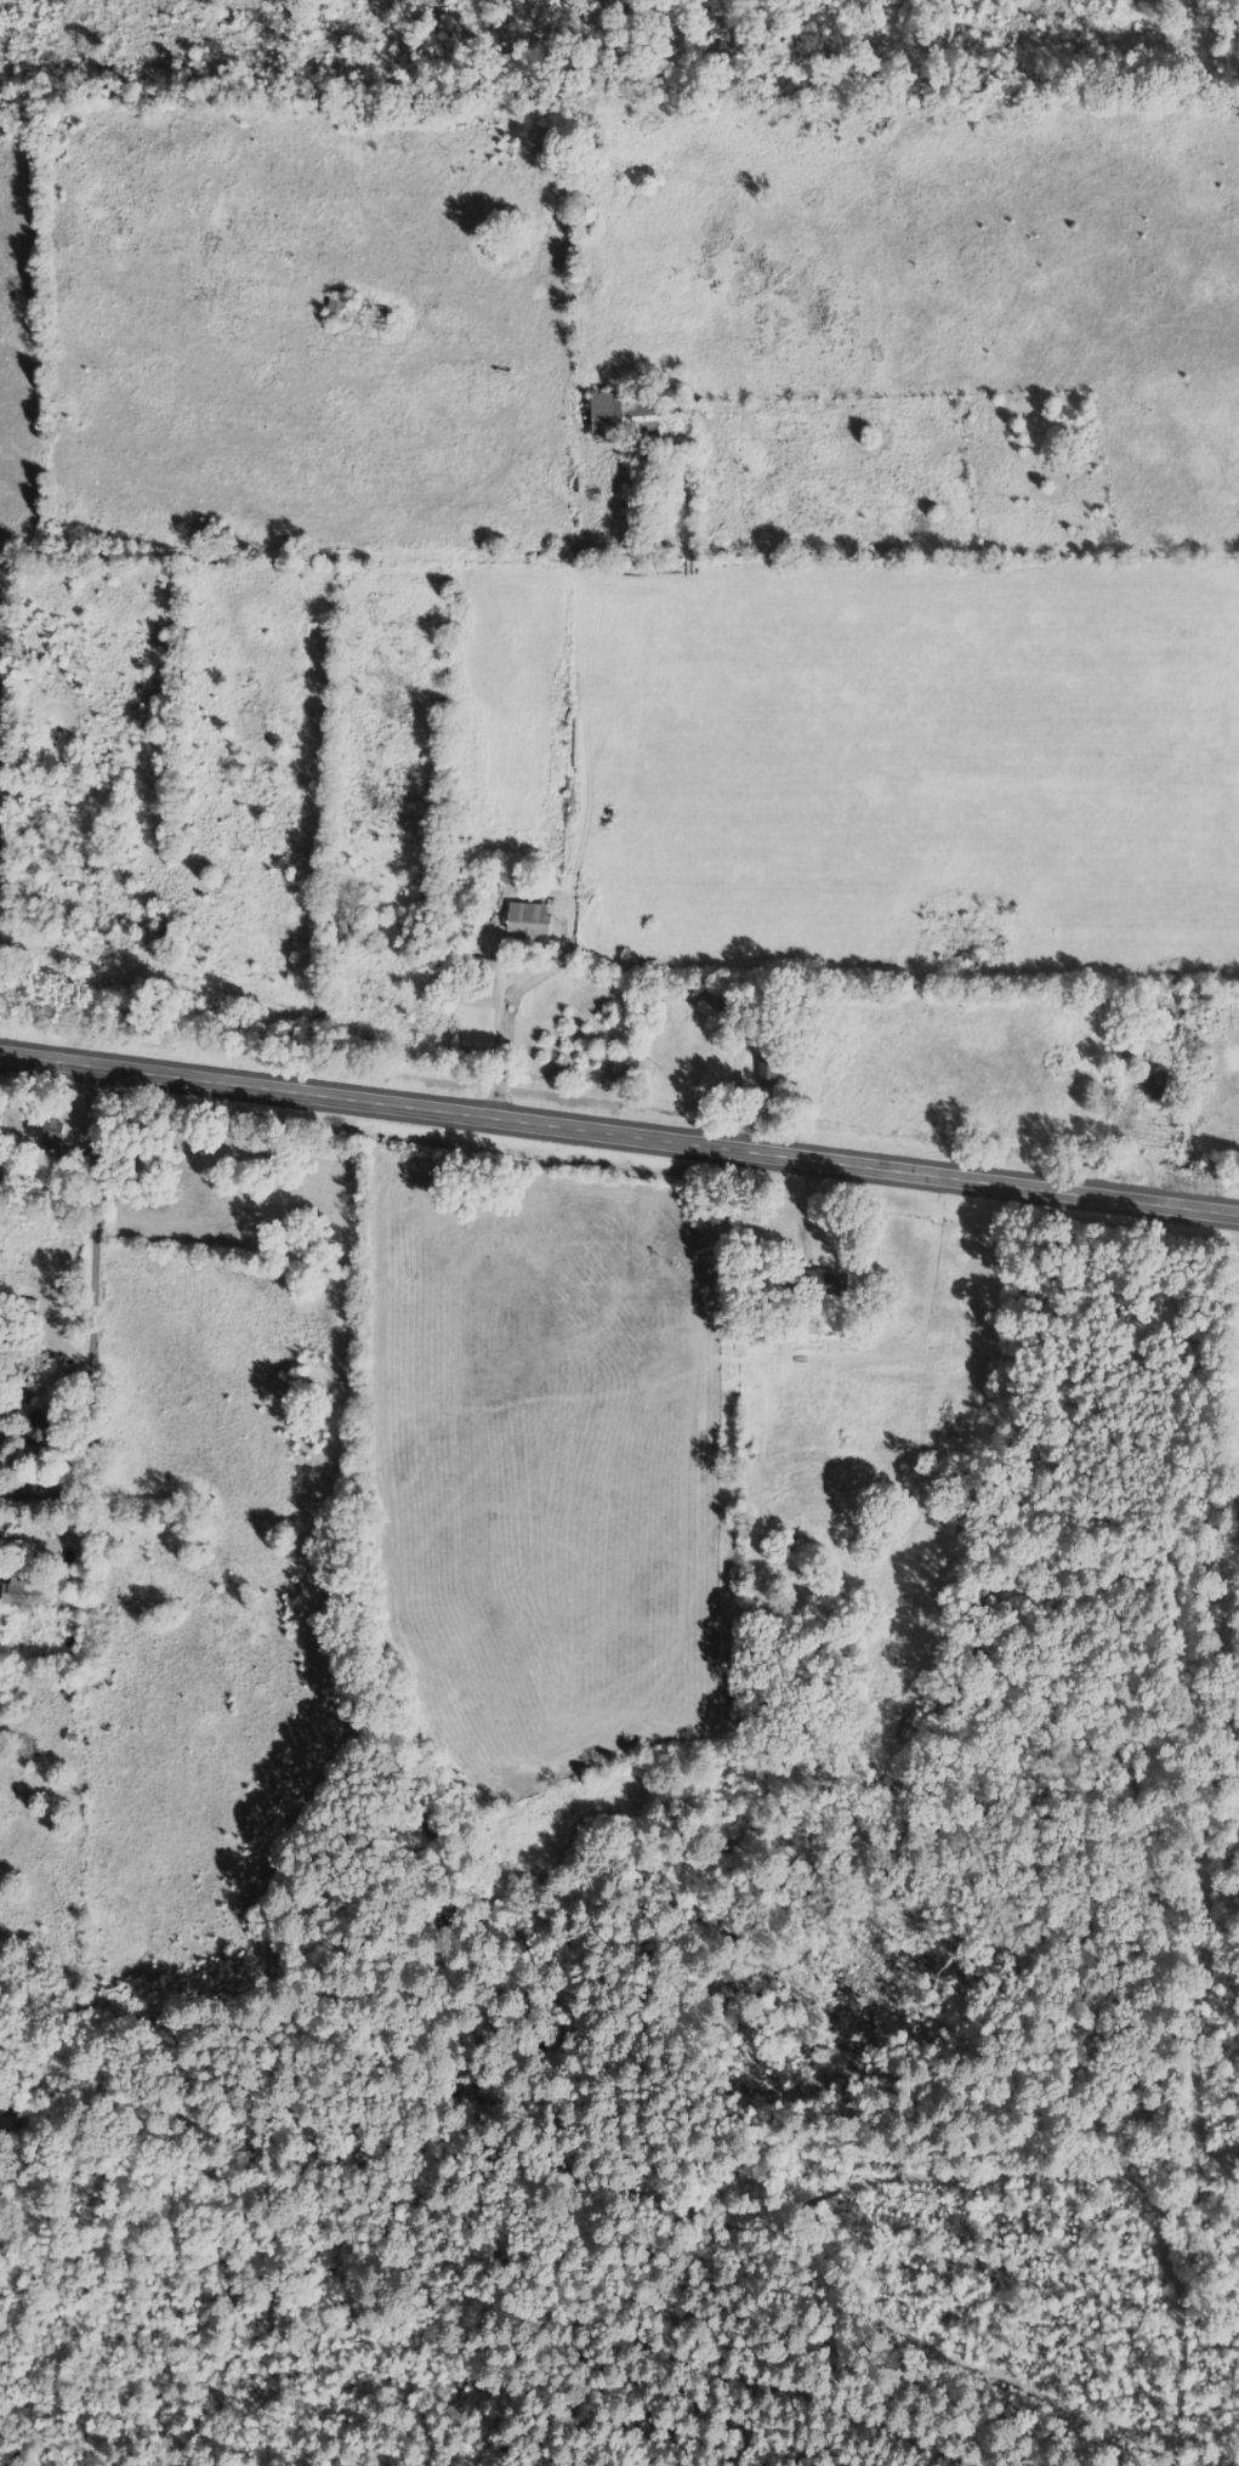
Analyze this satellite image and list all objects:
building: (609, 415)
building: (529, 917)
building: (1155, 1080)
building: (0, 1118)
road: (619, 1129)
building: (53, 1132)
building: (831, 1280)
road: (107, 1324)
building: (42, 1428)
building: (25, 1591)

